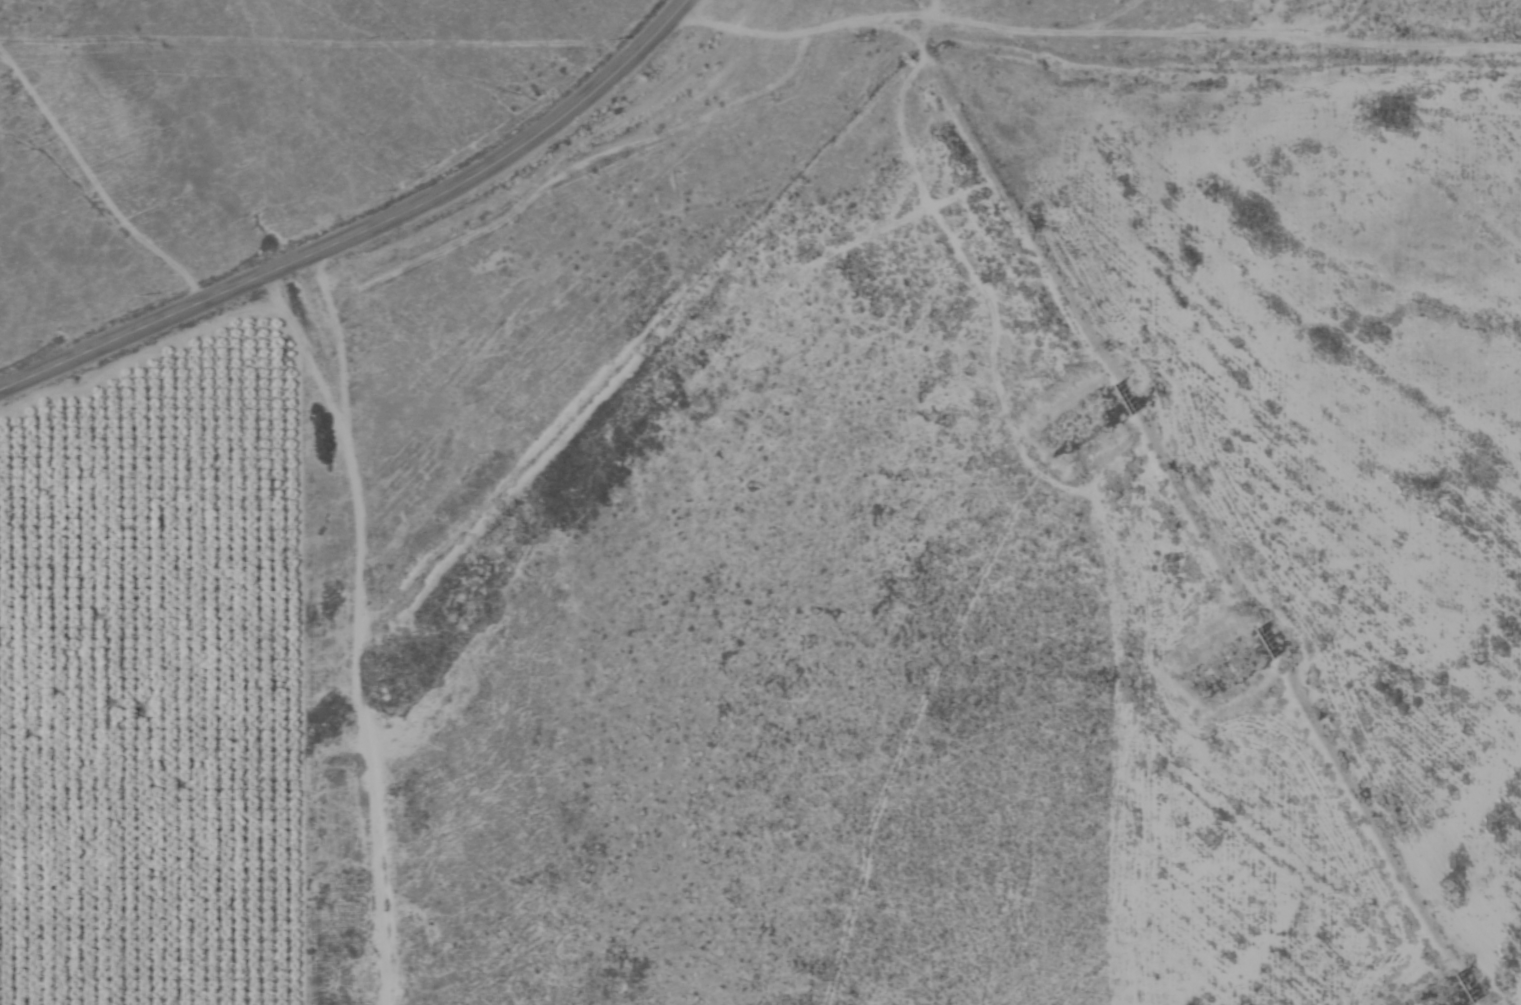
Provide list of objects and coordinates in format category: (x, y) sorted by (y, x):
road: (916, 46)
road: (363, 227)
road: (361, 624)
road: (1032, 821)

